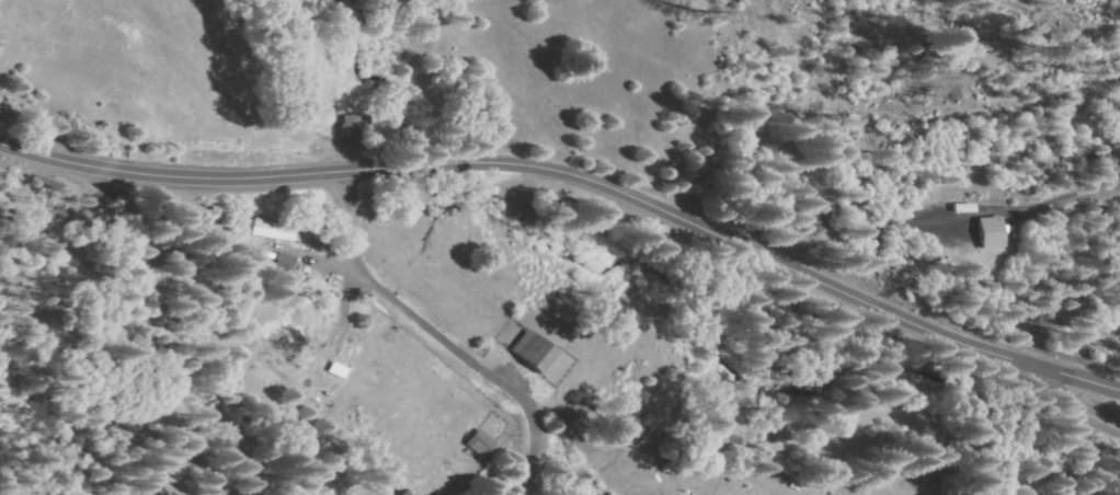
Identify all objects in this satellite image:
building: (356, 126)
road: (481, 172)
park: (1093, 210)
building: (277, 230)
building: (271, 255)
building: (288, 262)
building: (369, 308)
building: (288, 341)
building: (539, 349)
road: (1027, 364)
building: (342, 370)
road: (1027, 381)
building: (299, 387)
road: (201, 399)
building: (325, 399)
building: (482, 446)
park: (156, 460)
building: (410, 493)
building: (616, 494)

